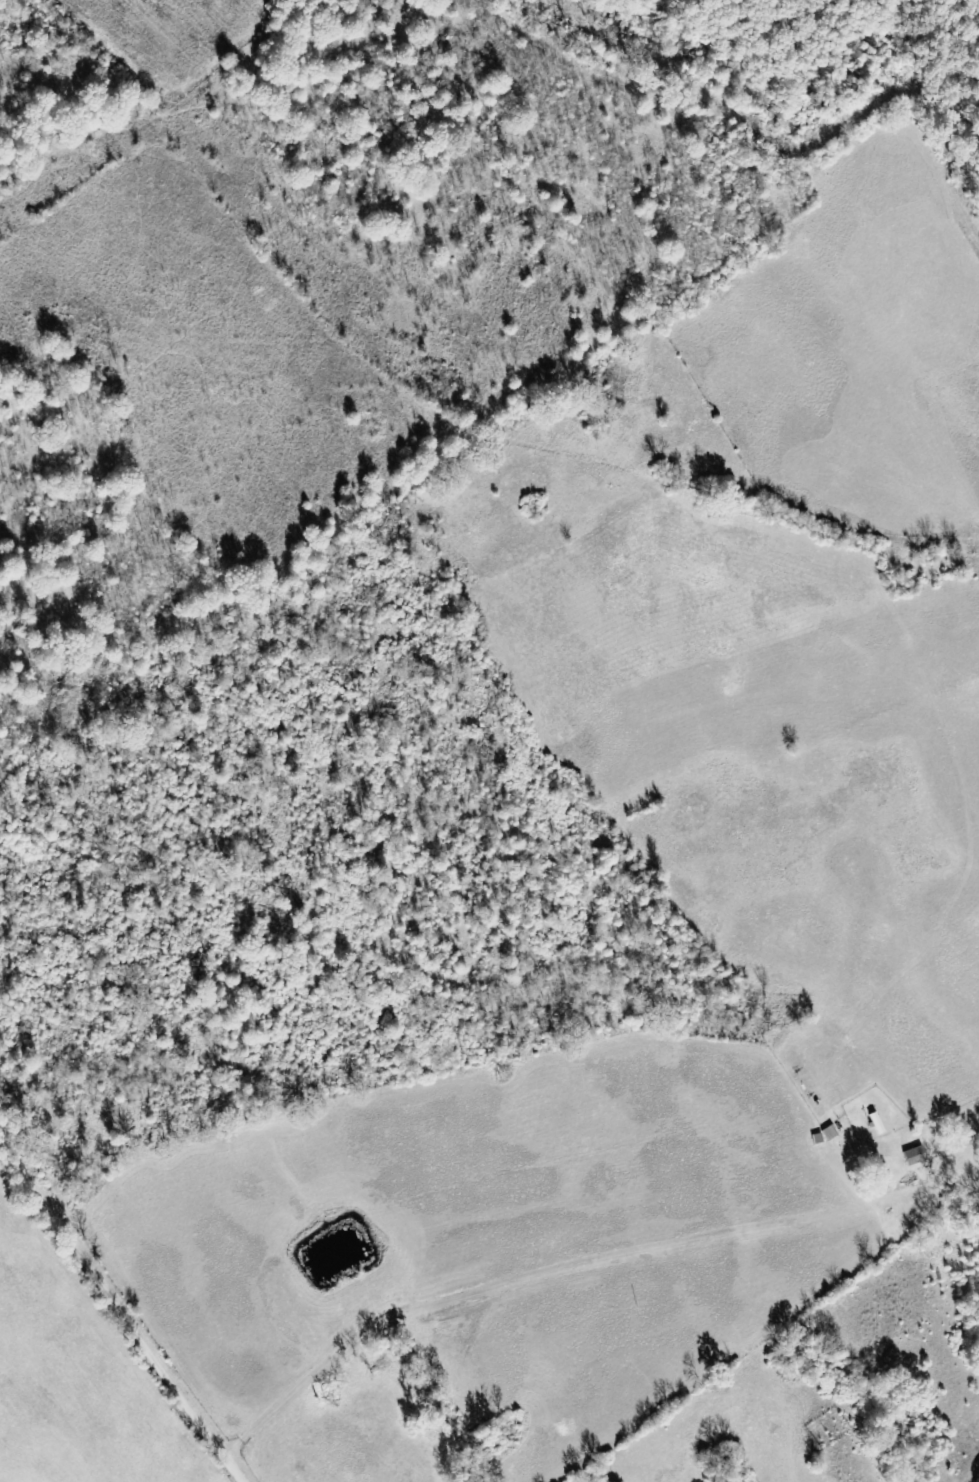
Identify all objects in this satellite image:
building: (914, 1157)
road: (109, 1330)

